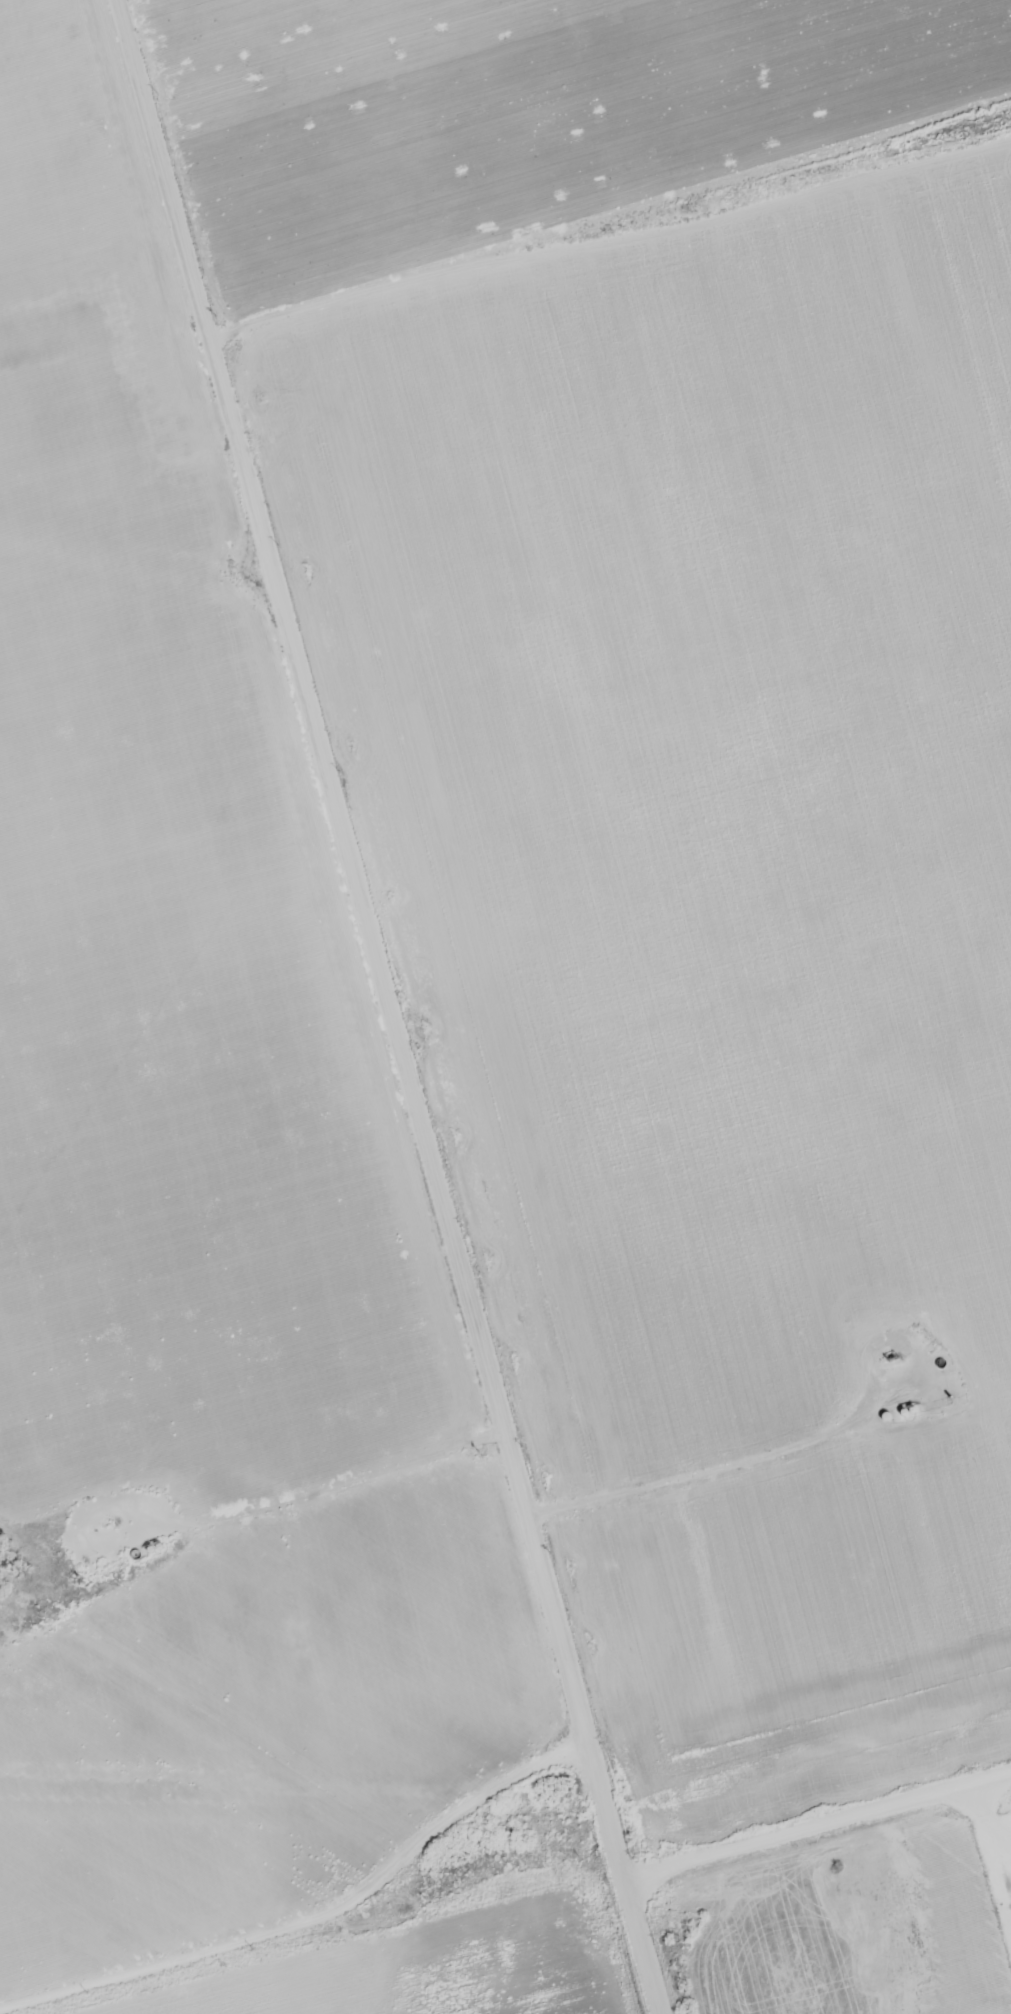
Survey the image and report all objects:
road: (607, 240)
road: (370, 1003)
road: (313, 1918)

